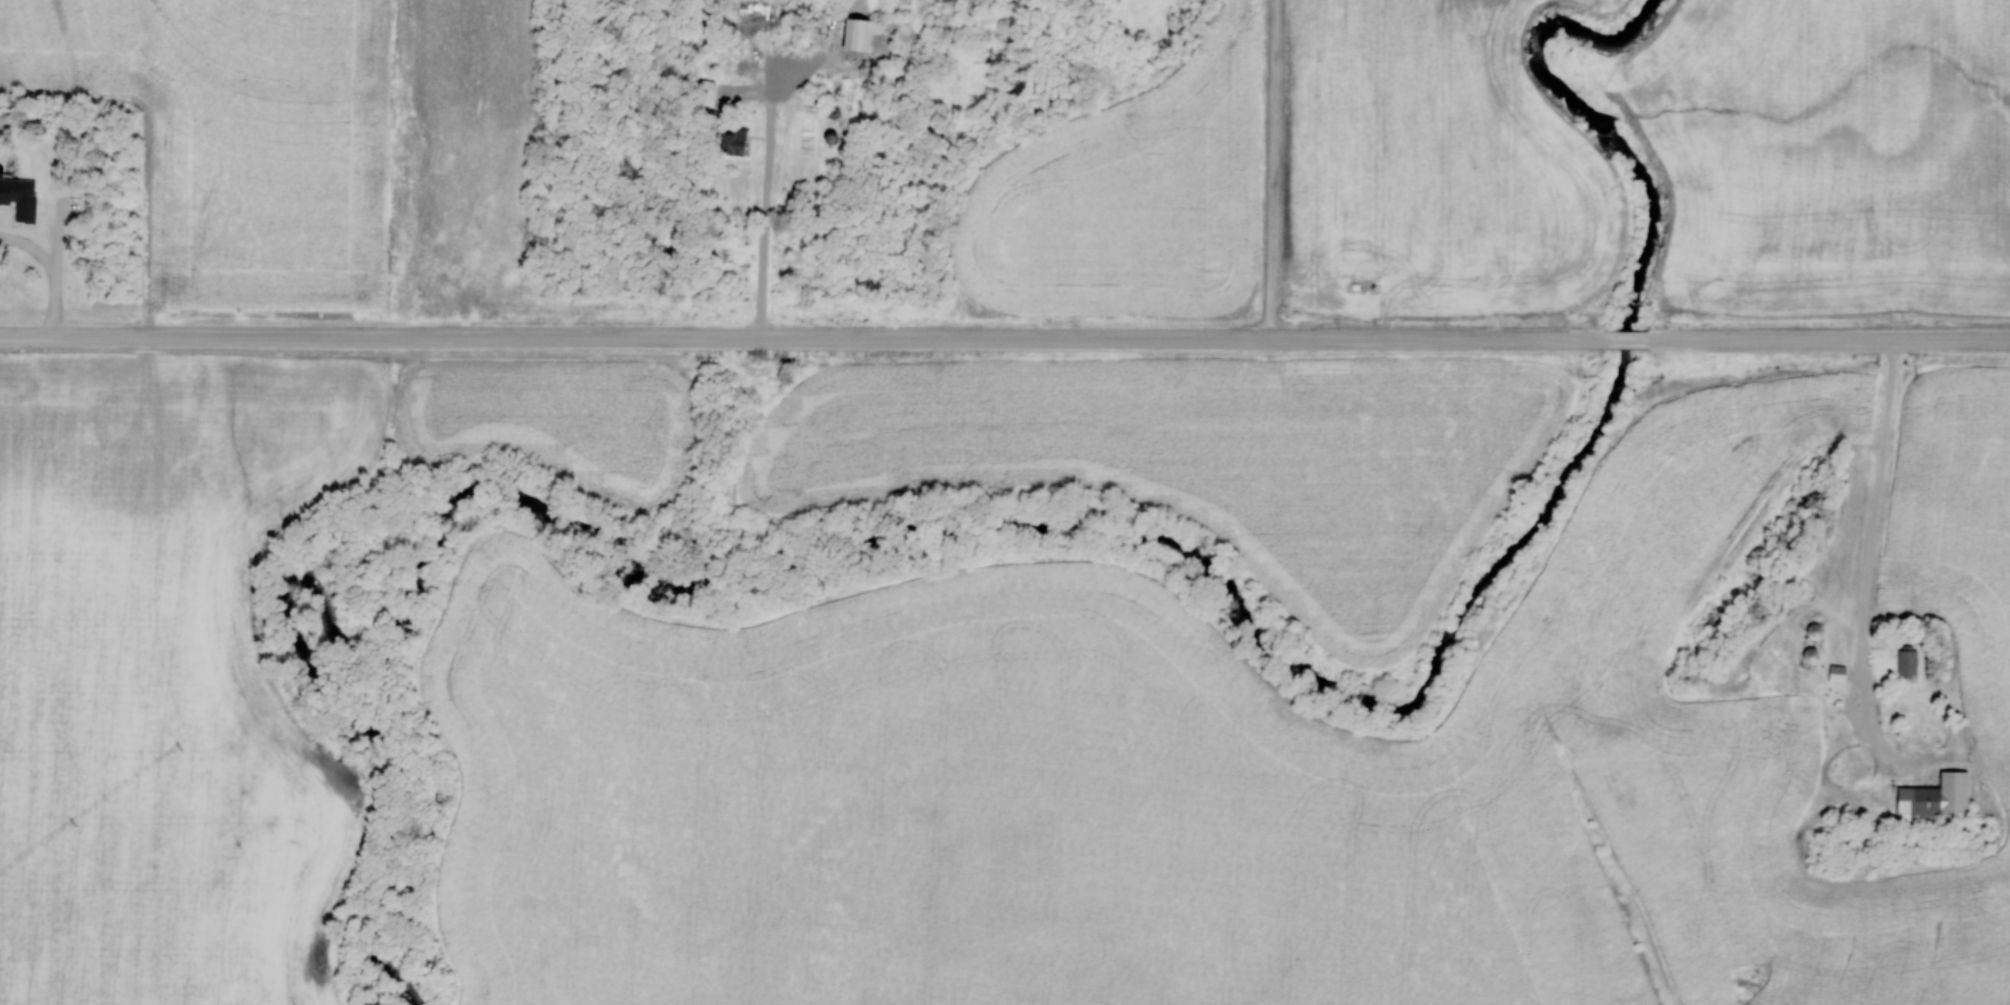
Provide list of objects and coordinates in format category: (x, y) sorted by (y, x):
building: (855, 35)
building: (705, 89)
building: (732, 141)
road: (1275, 170)
road: (768, 217)
road: (804, 340)
road: (1628, 341)
road: (1827, 342)
building: (1813, 631)
building: (1809, 656)
building: (1906, 662)
road: (1862, 670)
building: (1836, 674)
building: (1931, 801)

